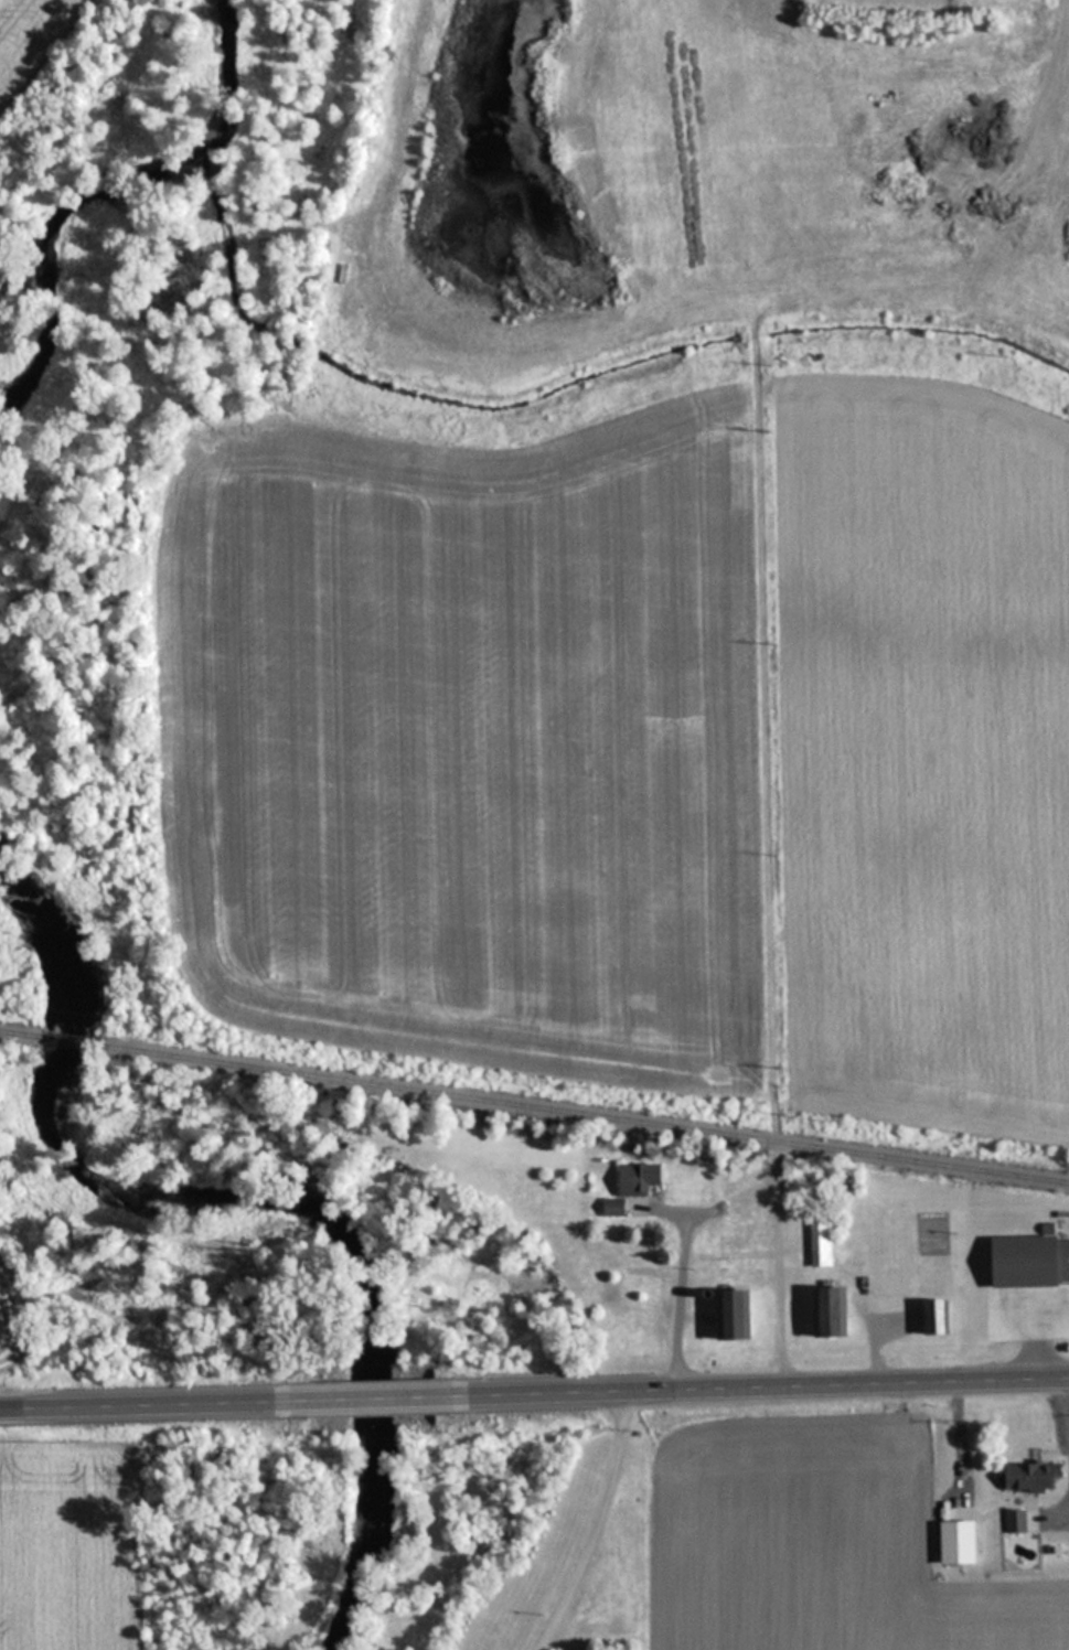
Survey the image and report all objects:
river: (109, 185)
railway: (20, 1035)
railway: (73, 1042)
road: (773, 1110)
railway: (587, 1114)
road: (774, 1142)
building: (627, 1186)
river: (284, 1218)
building: (816, 1239)
building: (1025, 1261)
road: (779, 1269)
road: (683, 1275)
building: (824, 1312)
building: (727, 1315)
building: (931, 1317)
building: (383, 1359)
road: (756, 1385)
road: (387, 1396)
road: (165, 1403)
building: (1027, 1476)
building: (1017, 1522)
road: (598, 1524)
building: (953, 1533)

